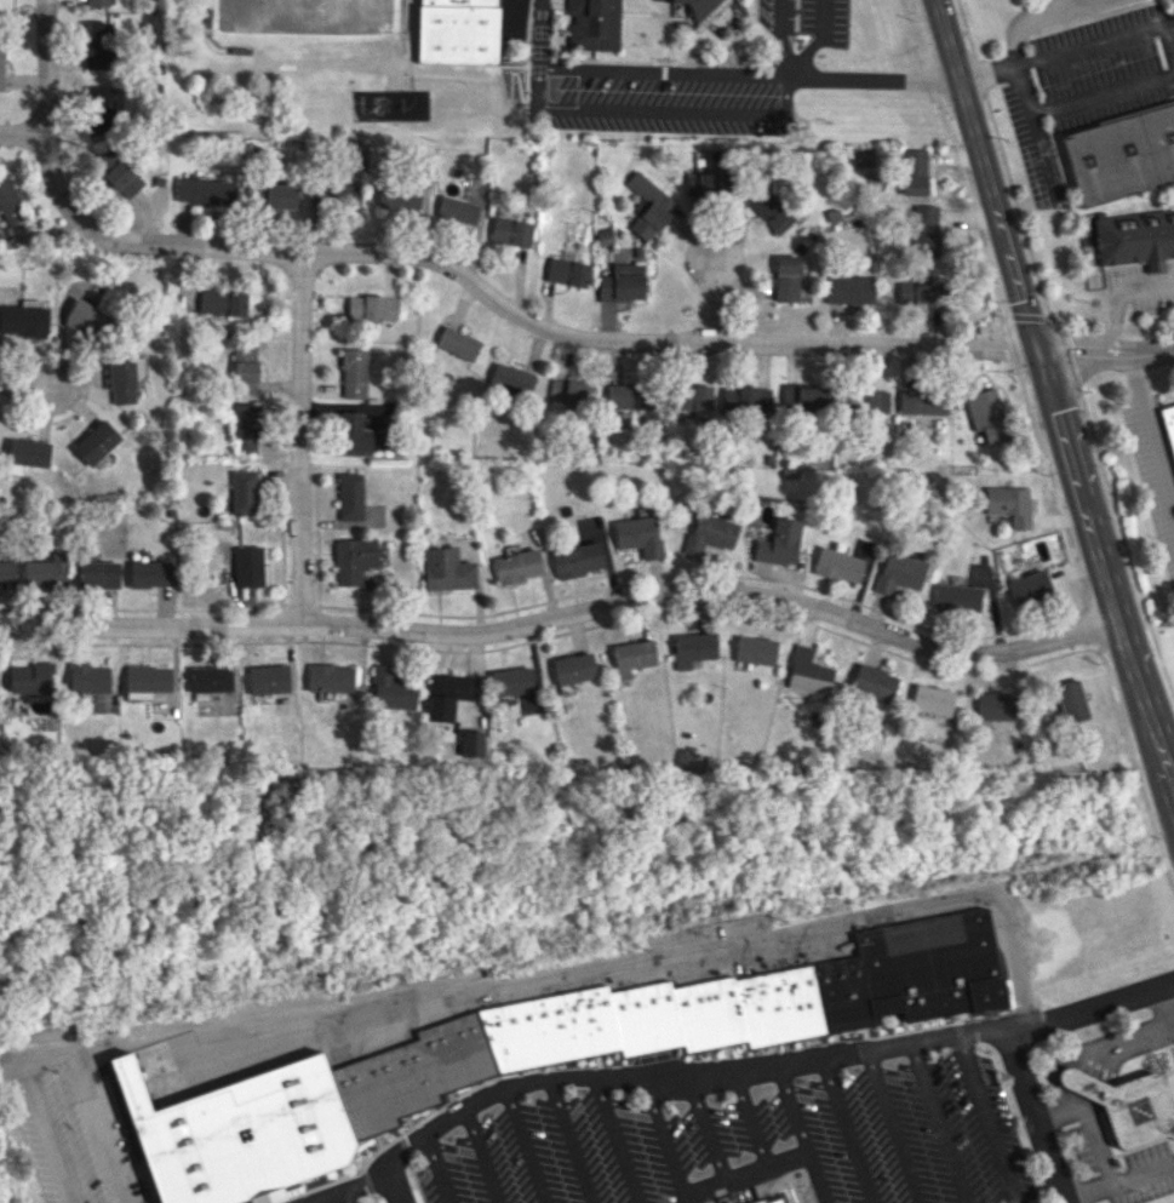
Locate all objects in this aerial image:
building: (96, 2)
building: (698, 6)
park: (307, 13)
building: (594, 24)
building: (465, 29)
road: (781, 35)
road: (1013, 35)
road: (540, 39)
road: (814, 40)
building: (97, 45)
building: (0, 65)
road: (1018, 70)
road: (784, 75)
road: (872, 80)
building: (101, 110)
road: (773, 114)
road: (19, 130)
building: (1121, 154)
building: (914, 171)
building: (116, 172)
building: (703, 182)
building: (204, 190)
building: (334, 195)
building: (397, 195)
building: (277, 196)
building: (8, 202)
building: (647, 205)
building: (454, 208)
building: (769, 208)
building: (924, 228)
building: (509, 231)
building: (1134, 235)
building: (565, 271)
building: (785, 277)
building: (905, 288)
building: (849, 290)
building: (924, 293)
road: (1118, 294)
road: (714, 296)
building: (221, 303)
building: (370, 308)
road: (503, 309)
building: (91, 315)
building: (23, 320)
building: (457, 343)
building: (137, 365)
building: (242, 368)
building: (353, 372)
road: (23, 376)
building: (120, 379)
building: (510, 379)
building: (567, 390)
road: (1052, 393)
building: (745, 397)
building: (800, 397)
building: (874, 400)
building: (622, 401)
building: (922, 406)
building: (985, 414)
building: (1169, 424)
building: (242, 426)
building: (353, 432)
road: (1150, 432)
road: (298, 437)
building: (95, 441)
building: (25, 453)
building: (242, 492)
building: (349, 495)
building: (1009, 504)
building: (708, 533)
building: (636, 534)
building: (777, 542)
building: (351, 558)
building: (577, 558)
building: (835, 565)
building: (246, 566)
building: (516, 566)
building: (445, 569)
building: (46, 571)
building: (897, 572)
building: (6, 573)
building: (97, 573)
building: (149, 573)
building: (1029, 586)
building: (956, 597)
road: (566, 614)
building: (754, 649)
building: (631, 657)
building: (573, 668)
building: (806, 672)
building: (30, 677)
building: (88, 677)
building: (328, 677)
building: (210, 678)
building: (267, 678)
building: (145, 680)
building: (510, 681)
building: (872, 682)
building: (390, 688)
building: (447, 694)
building: (930, 699)
building: (1070, 700)
building: (995, 706)
building: (471, 743)
road: (575, 974)
road: (1167, 1002)
parking lot: (1173, 1049)
building: (539, 1053)
road: (1117, 1058)
road: (1084, 1067)
road: (754, 1069)
road: (1100, 1076)
road: (1088, 1078)
road: (1067, 1079)
building: (1082, 1083)
building: (1138, 1110)
road: (1035, 1116)
road: (989, 1119)
road: (752, 1121)
parking lot: (74, 1122)
road: (940, 1123)
road: (1089, 1125)
road: (103, 1127)
road: (894, 1127)
road: (708, 1129)
road: (848, 1130)
road: (52, 1132)
road: (803, 1134)
road: (666, 1139)
road: (618, 1140)
road: (572, 1141)
parking lot: (751, 1145)
road: (525, 1146)
road: (483, 1155)
parking lot: (1122, 1164)
road: (440, 1168)
road: (749, 1175)
road: (1121, 1185)
road: (348, 1190)
parking lot: (338, 1193)
road: (347, 1197)
building: (773, 1199)

